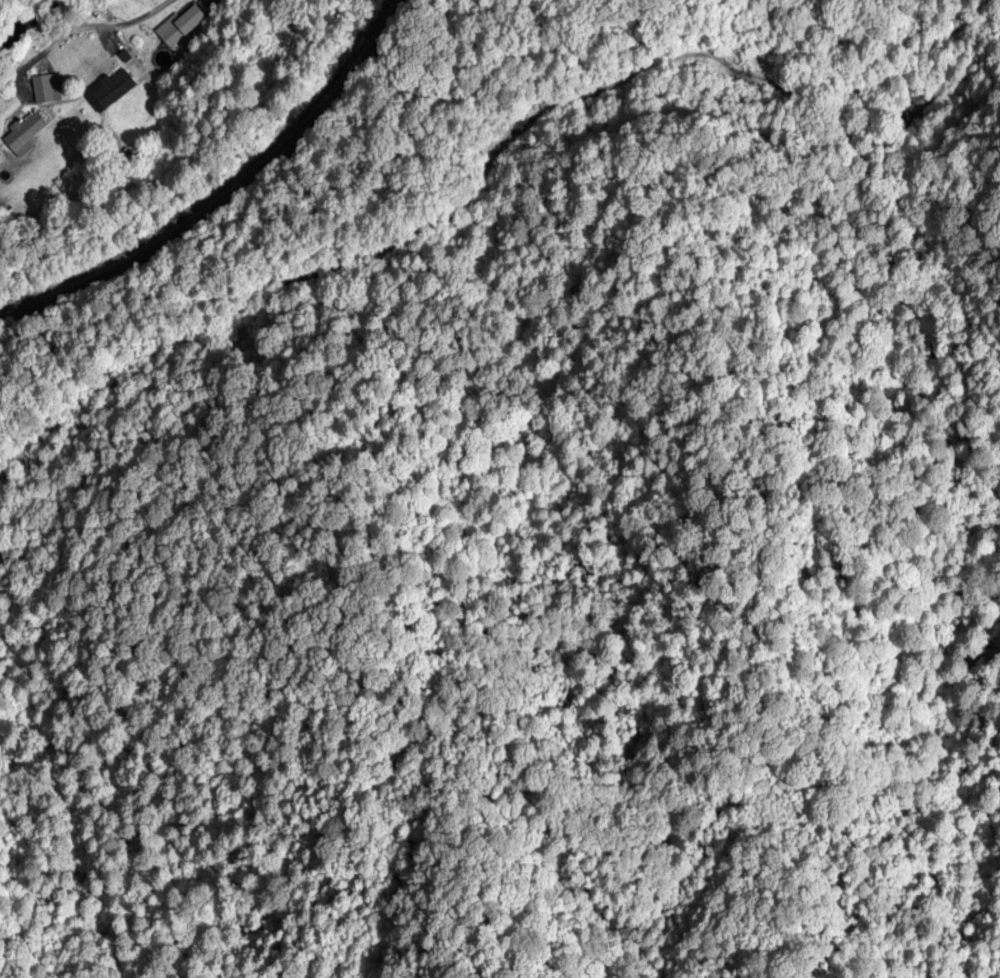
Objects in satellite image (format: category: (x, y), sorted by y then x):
road: (122, 25)
building: (182, 27)
building: (116, 89)
building: (28, 134)
railway: (228, 195)

